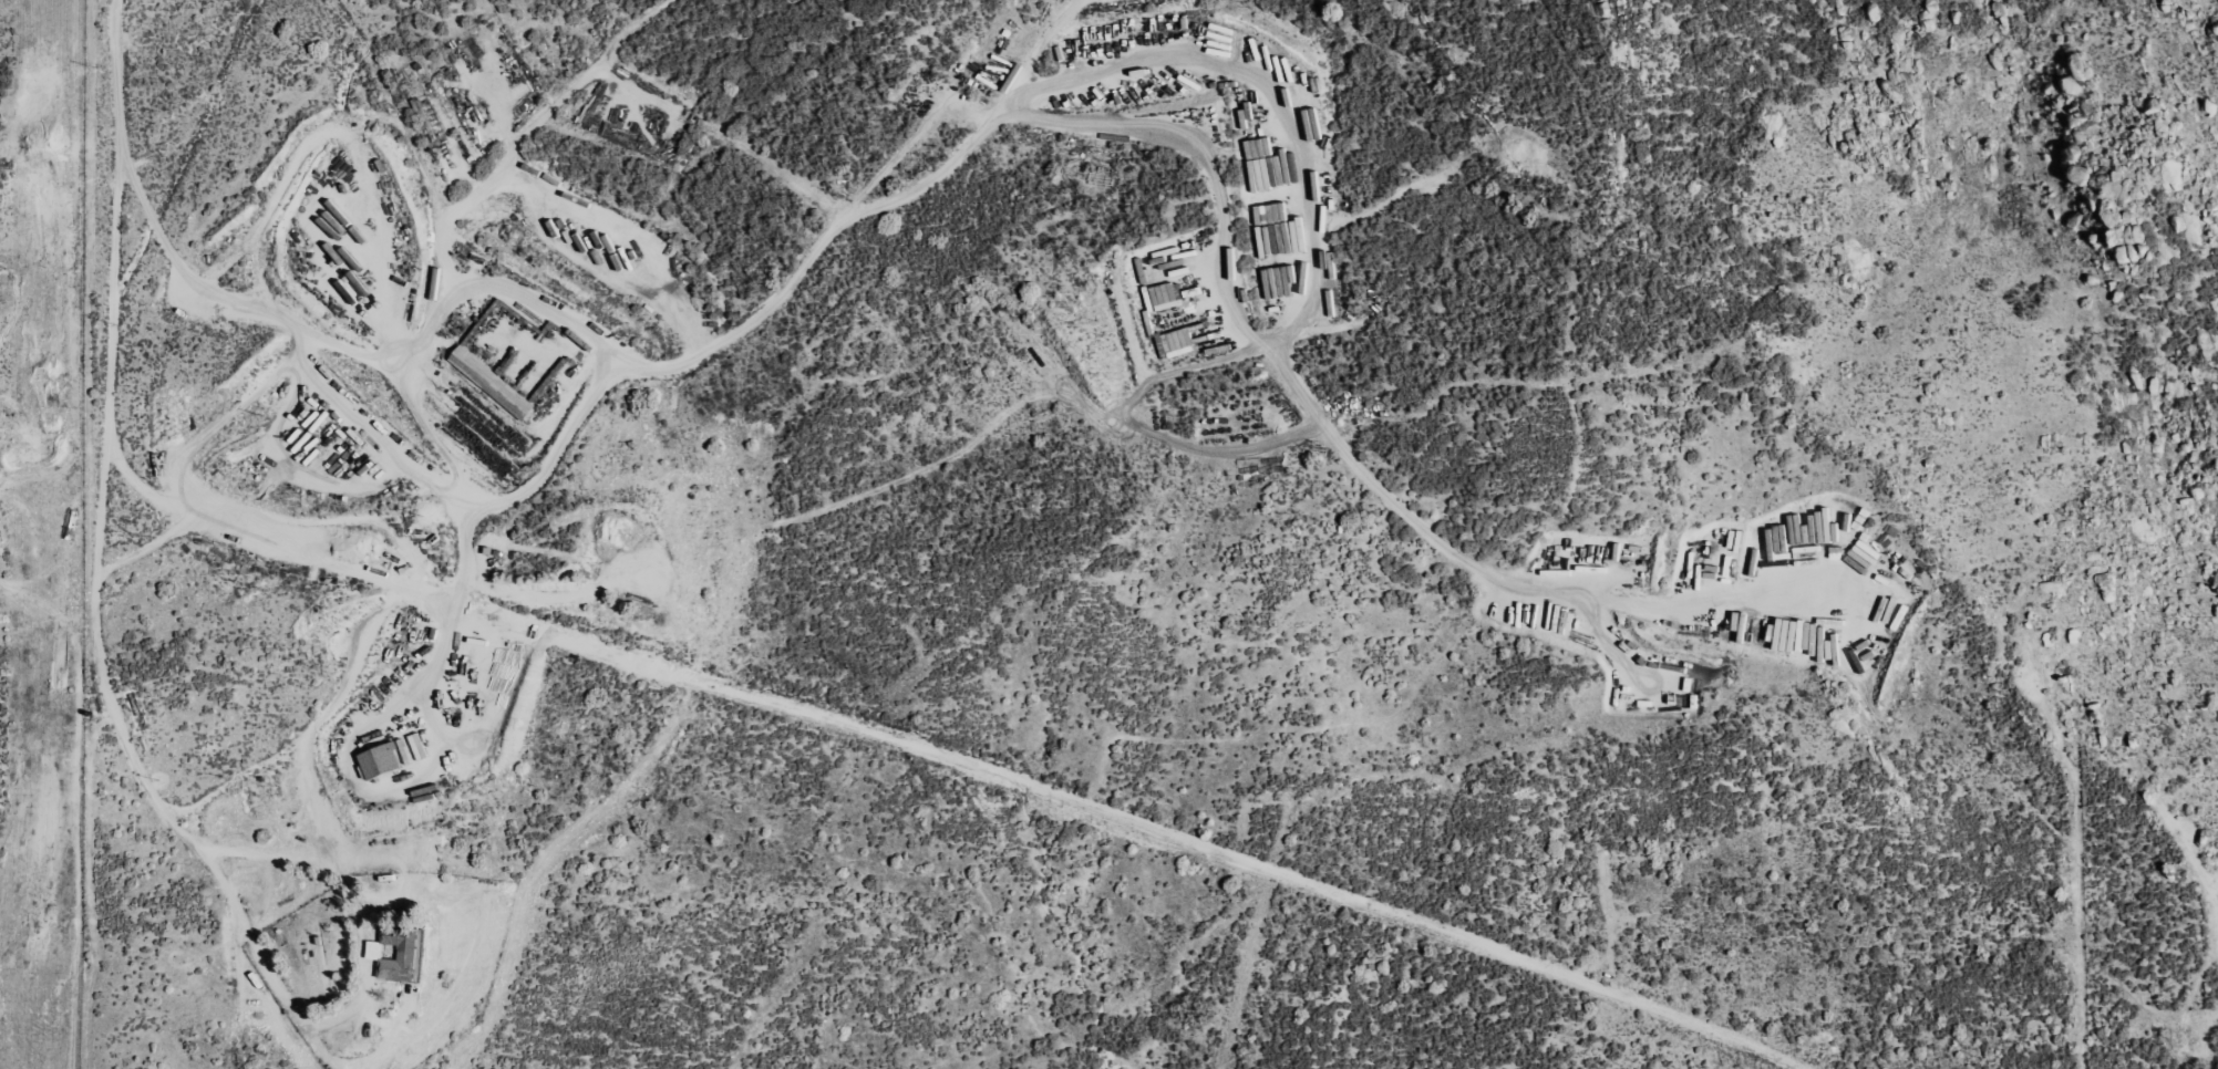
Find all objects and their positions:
building: (1174, 342)
building: (492, 382)
building: (380, 759)
building: (396, 953)

